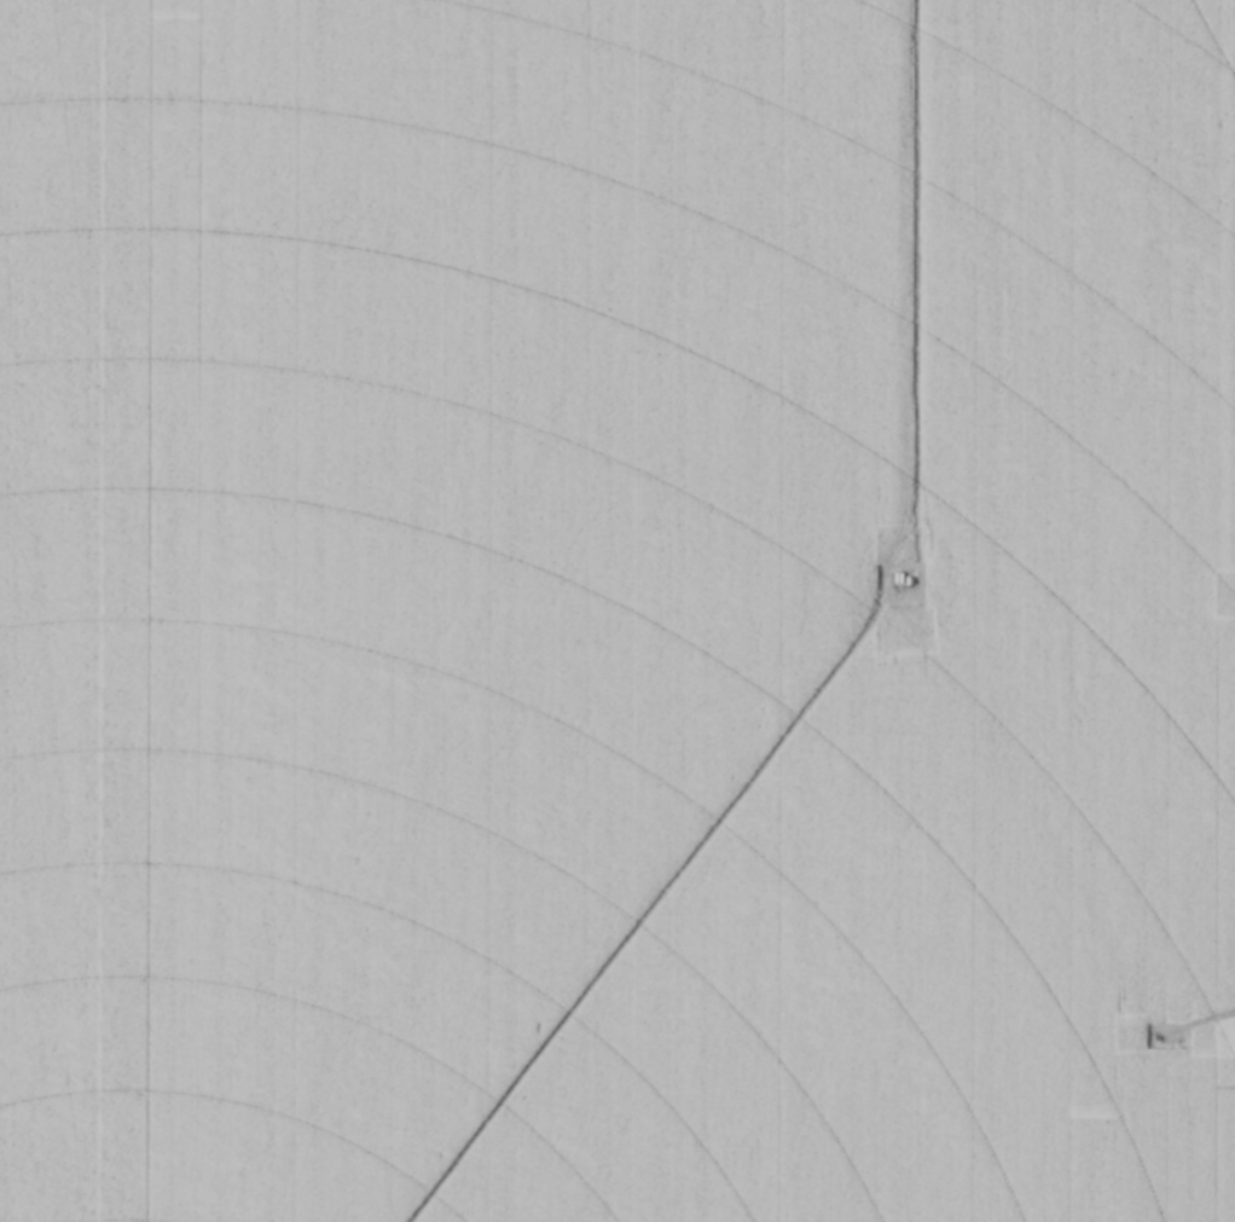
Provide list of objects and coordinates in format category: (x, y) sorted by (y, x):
building: (897, 579)

